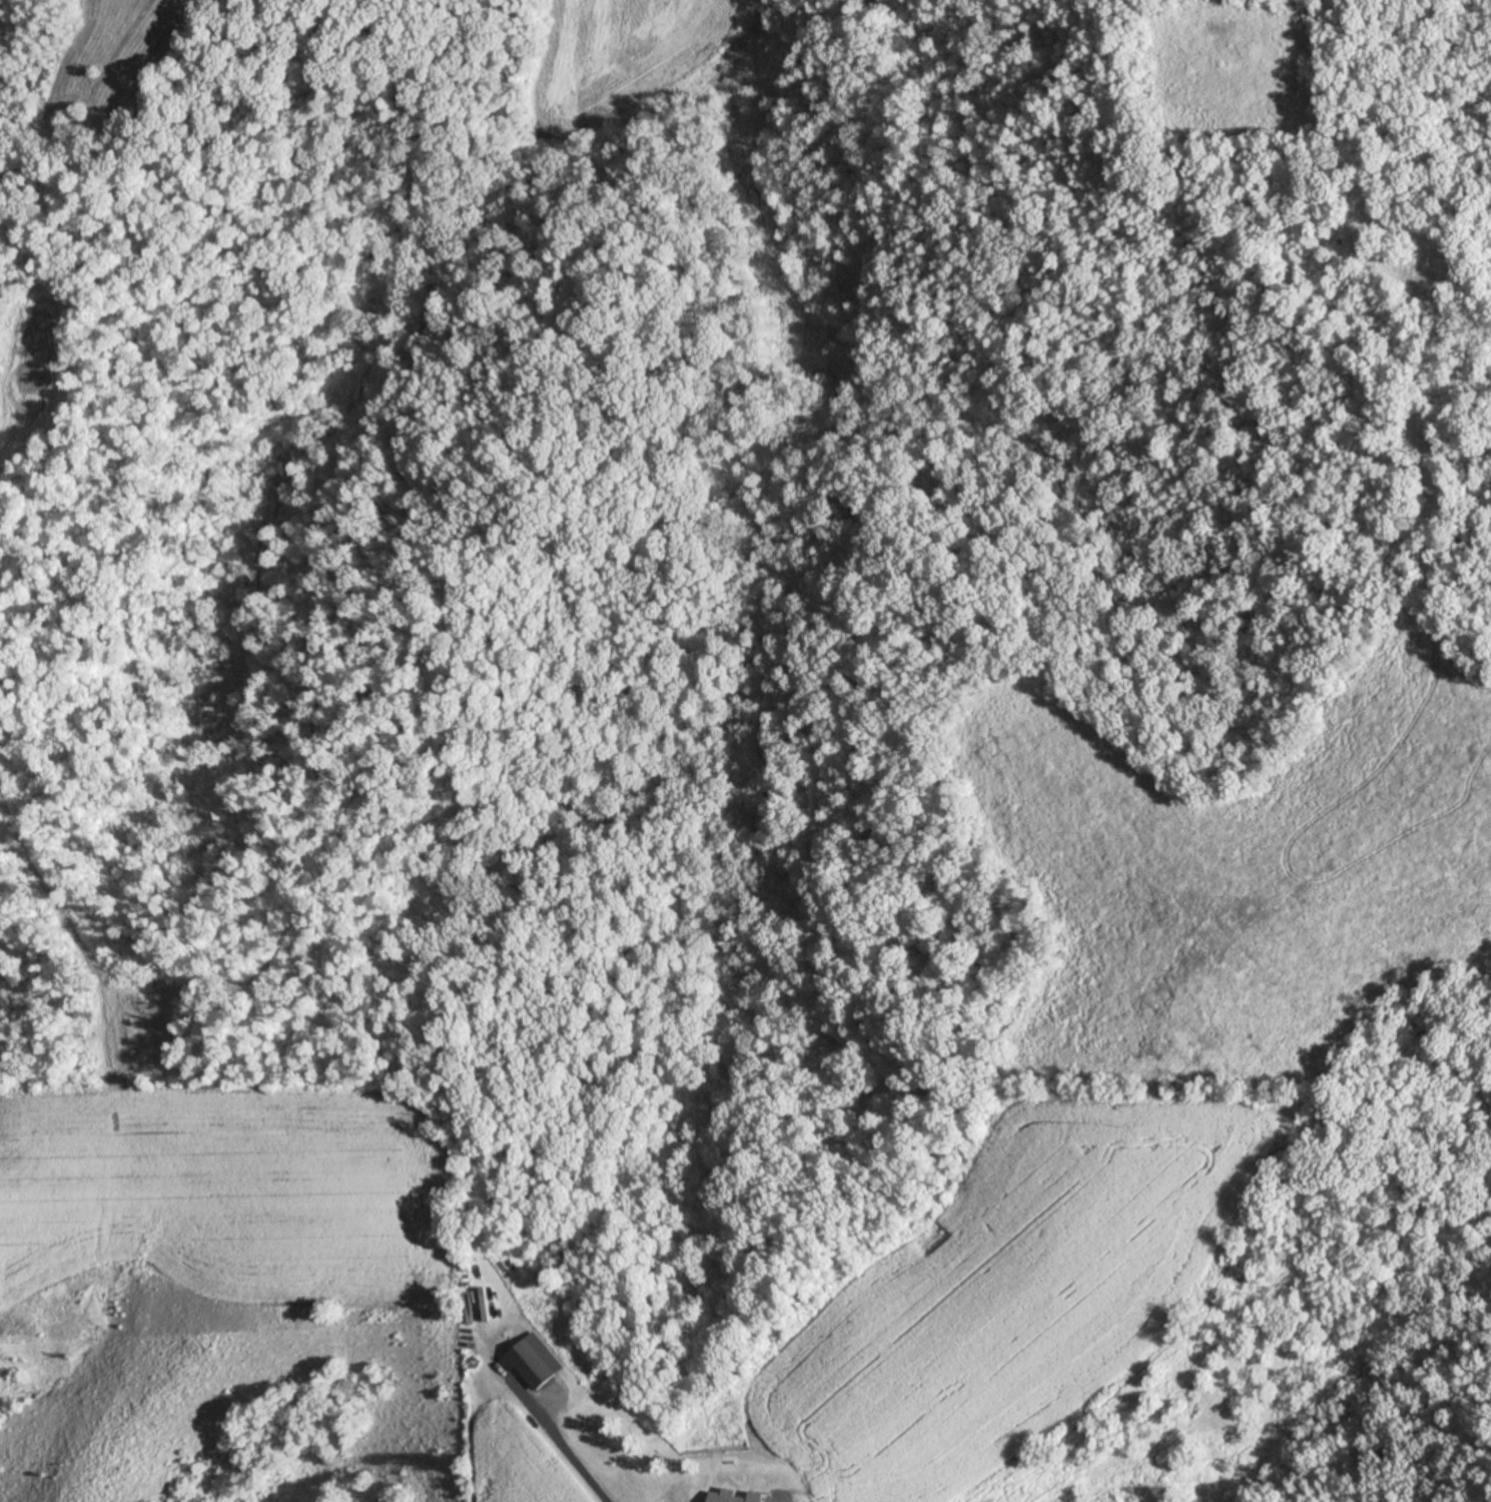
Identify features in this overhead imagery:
road: (1484, 468)
building: (532, 1361)
road: (570, 1459)
building: (732, 1498)

